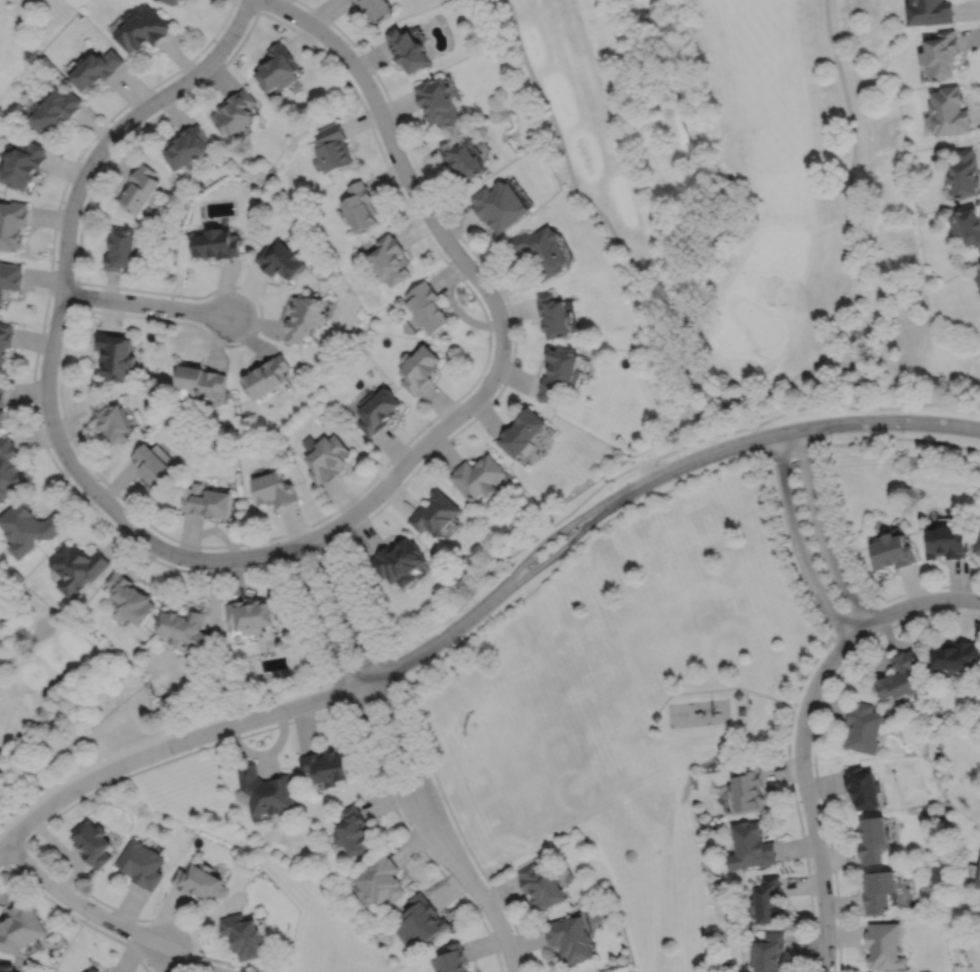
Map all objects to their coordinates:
road: (979, 0)
building: (170, 1)
road: (258, 5)
building: (379, 8)
building: (930, 12)
street lamp: (253, 14)
park: (27, 28)
building: (142, 29)
street lamp: (347, 42)
building: (411, 50)
building: (941, 55)
street lamp: (224, 59)
building: (279, 68)
building: (95, 69)
building: (439, 102)
building: (54, 111)
building: (235, 112)
building: (948, 112)
street lamp: (134, 127)
building: (187, 148)
street lamp: (405, 148)
building: (333, 149)
building: (462, 156)
building: (25, 166)
building: (965, 174)
park: (734, 189)
building: (139, 190)
building: (499, 206)
building: (359, 207)
street lamp: (82, 208)
building: (13, 225)
building: (967, 227)
building: (216, 245)
building: (122, 251)
building: (541, 251)
street lamp: (448, 258)
building: (282, 261)
building: (391, 261)
road: (473, 273)
building: (979, 274)
building: (10, 279)
building: (978, 280)
street lamp: (234, 289)
building: (979, 292)
road: (145, 303)
building: (428, 309)
road: (485, 316)
street lamp: (68, 317)
street lamp: (167, 317)
building: (555, 317)
road: (260, 318)
building: (306, 319)
road: (515, 337)
building: (5, 339)
road: (53, 339)
street lamp: (491, 347)
building: (115, 354)
building: (418, 369)
building: (560, 374)
building: (268, 376)
building: (198, 379)
building: (2, 394)
road: (714, 403)
road: (865, 407)
building: (376, 409)
building: (2, 415)
building: (110, 420)
street lamp: (431, 424)
street lamp: (41, 426)
road: (793, 430)
building: (521, 431)
street lamp: (904, 432)
street lamp: (831, 435)
road: (757, 437)
road: (868, 440)
building: (326, 457)
building: (152, 463)
building: (9, 467)
street lamp: (705, 467)
building: (477, 477)
building: (275, 488)
building: (207, 500)
street lamp: (379, 505)
road: (775, 505)
street lamp: (97, 507)
building: (435, 513)
road: (559, 520)
building: (28, 526)
road: (822, 531)
road: (551, 535)
road: (798, 541)
building: (947, 541)
road: (133, 545)
road: (562, 548)
building: (979, 548)
building: (892, 551)
road: (305, 554)
road: (845, 555)
street lamp: (277, 561)
building: (398, 561)
street lamp: (174, 565)
building: (77, 567)
road: (930, 588)
street lamp: (518, 589)
building: (131, 597)
street lamp: (352, 598)
road: (911, 604)
road: (345, 606)
building: (251, 615)
road: (322, 616)
park: (677, 622)
building: (186, 627)
street lamp: (453, 642)
road: (23, 646)
road: (430, 646)
building: (956, 656)
park: (619, 661)
road: (390, 668)
road: (361, 669)
building: (900, 677)
park: (48, 681)
road: (723, 689)
road: (338, 693)
building: (738, 694)
road: (710, 695)
road: (746, 699)
building: (742, 711)
building: (657, 717)
street lamp: (356, 718)
street lamp: (290, 719)
building: (864, 728)
park: (525, 742)
road: (168, 745)
street lamp: (190, 748)
road: (189, 752)
building: (324, 768)
street lamp: (127, 773)
road: (421, 778)
building: (747, 788)
building: (862, 788)
road: (399, 790)
building: (265, 791)
road: (808, 798)
street lamp: (408, 825)
building: (351, 832)
building: (872, 841)
building: (92, 844)
road: (2, 846)
building: (750, 847)
building: (141, 864)
building: (379, 881)
building: (198, 882)
building: (979, 883)
building: (541, 887)
building: (877, 891)
building: (767, 902)
road: (79, 903)
street lamp: (483, 917)
street lamp: (87, 919)
building: (421, 921)
road: (498, 922)
building: (20, 929)
building: (241, 937)
building: (571, 940)
building: (883, 947)
building: (768, 953)
street lamp: (191, 956)
building: (454, 960)
building: (5, 968)
building: (94, 970)

